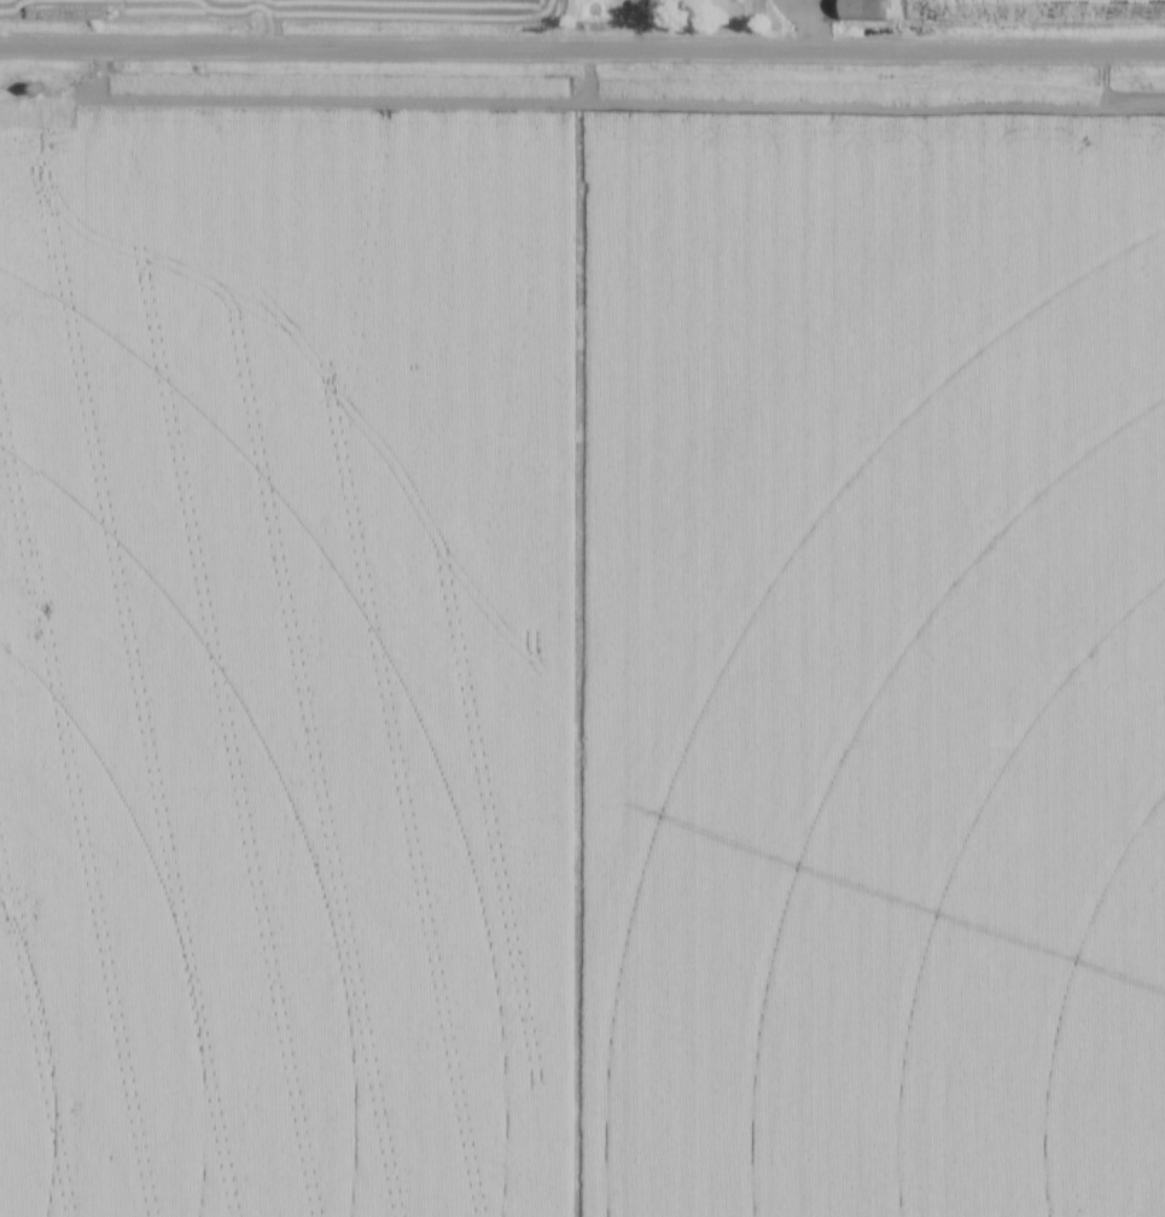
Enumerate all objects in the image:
building: (637, 5)
crop: (309, 7)
building: (861, 8)
crop: (1035, 10)
road: (582, 51)
building: (33, 91)
crop: (581, 650)

